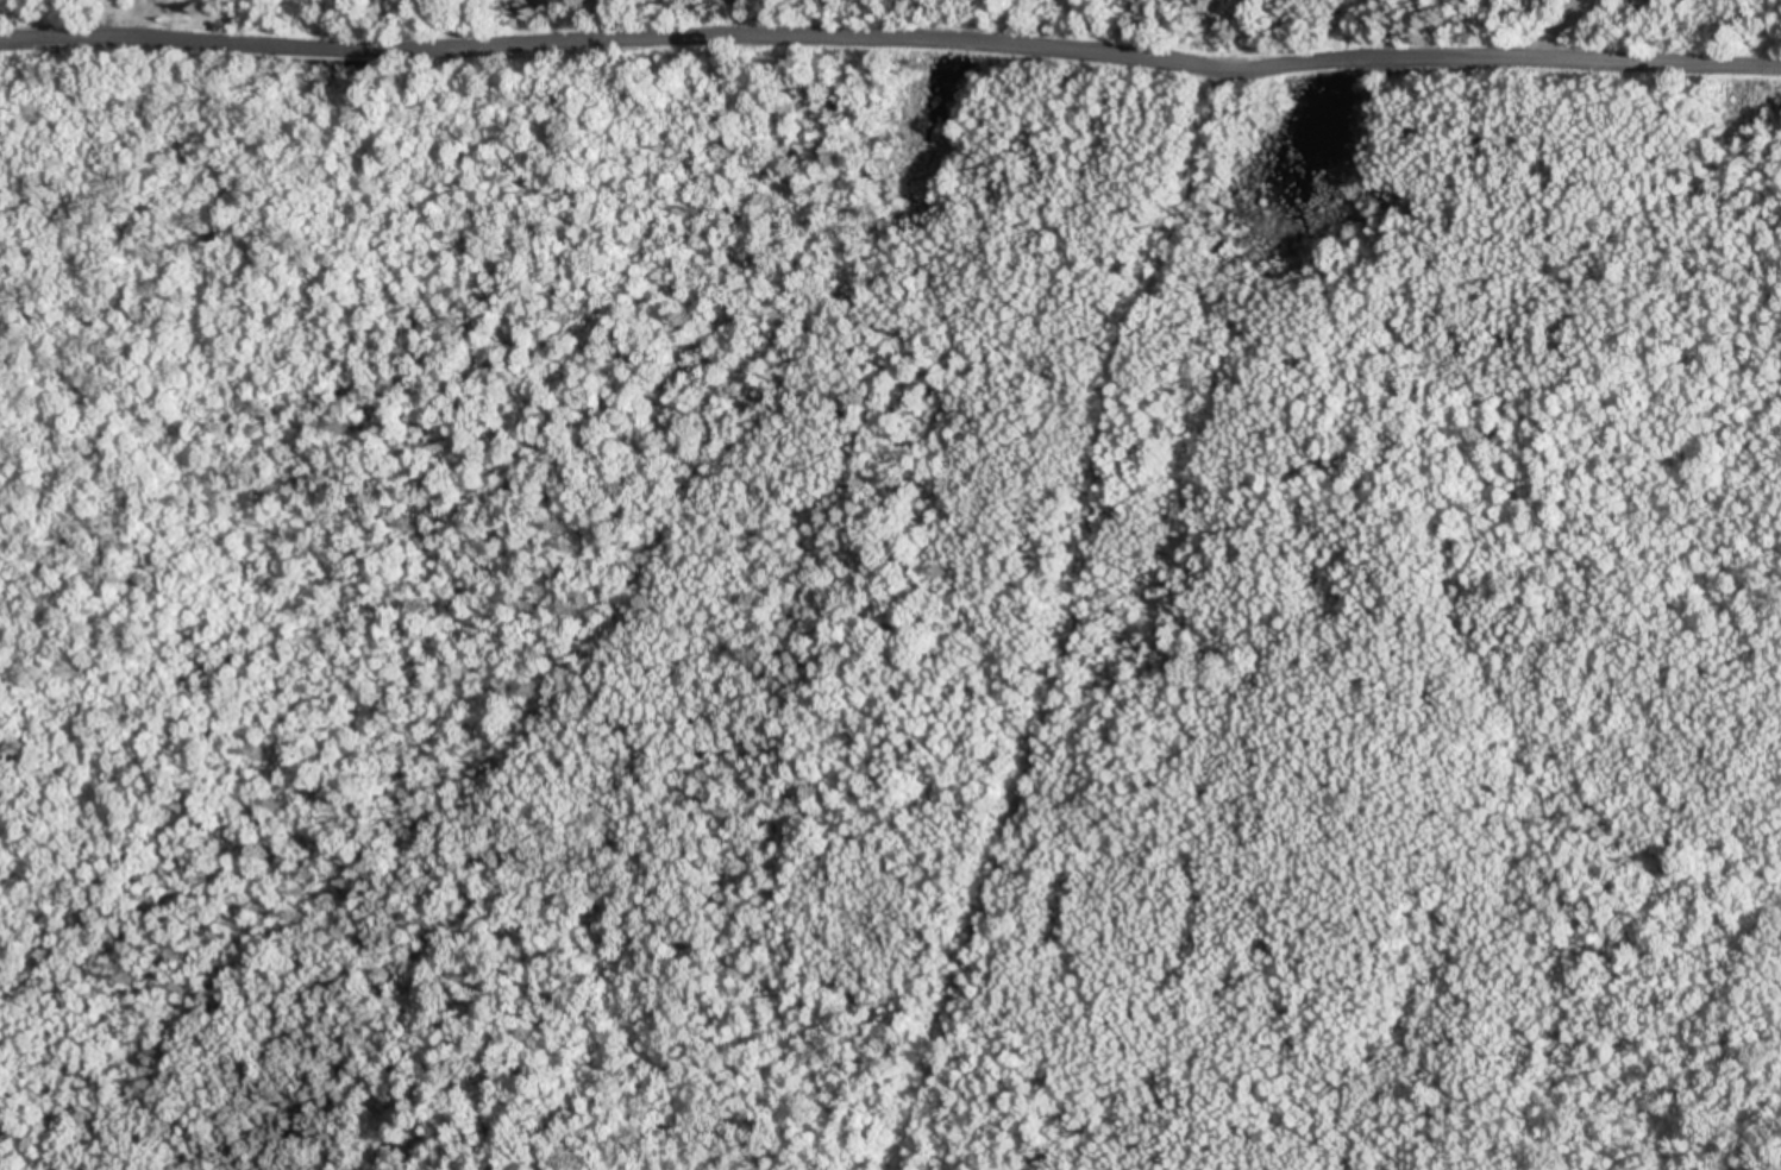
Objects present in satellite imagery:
road: (890, 45)

